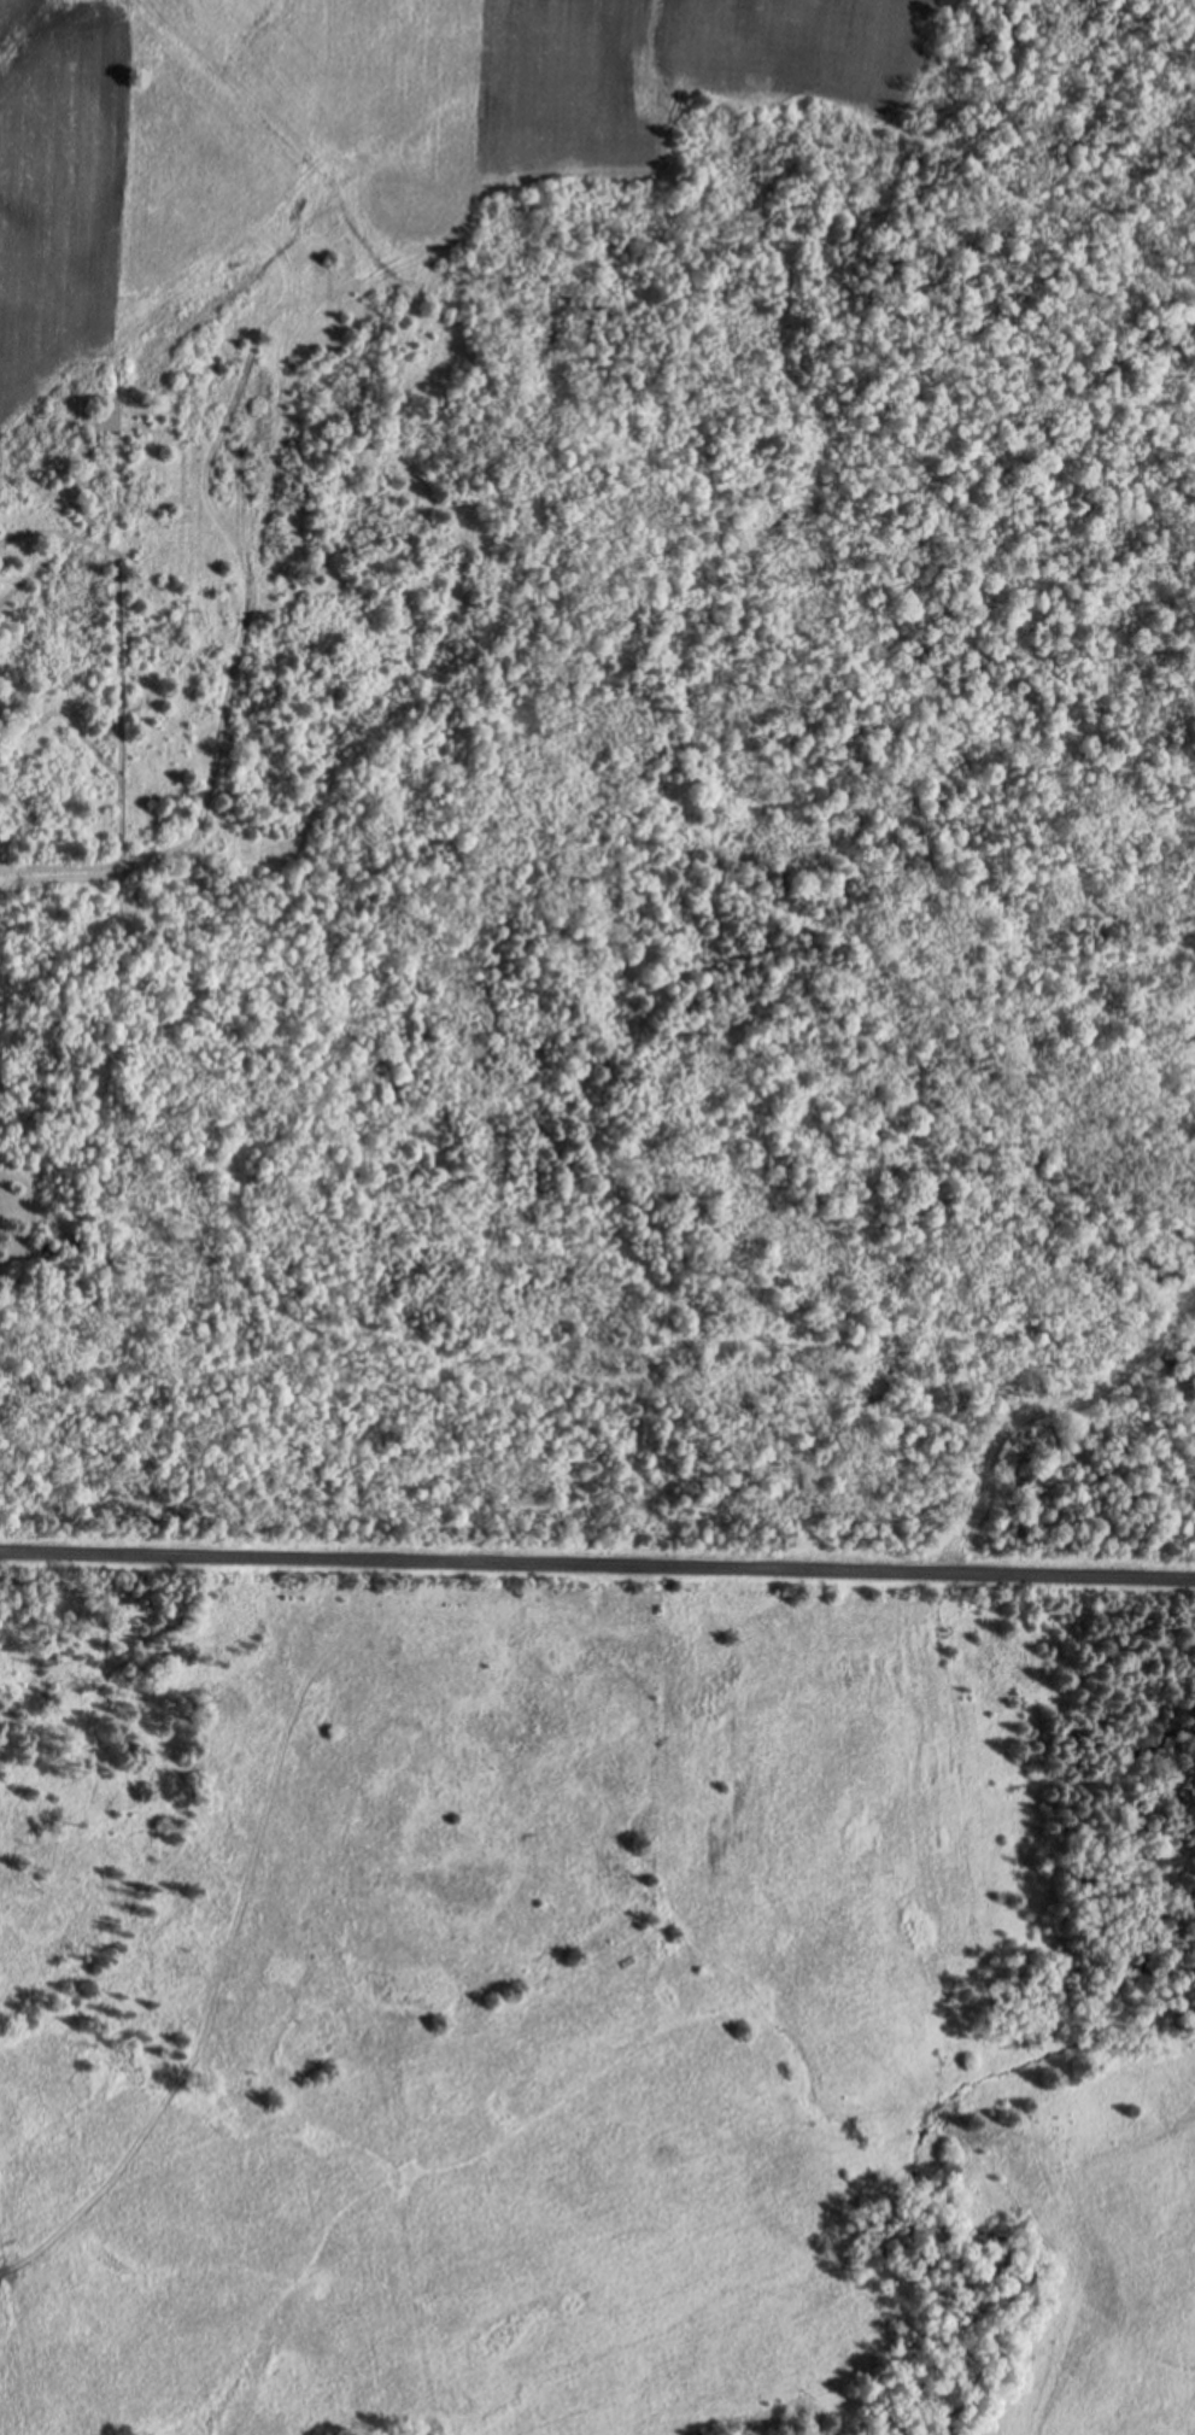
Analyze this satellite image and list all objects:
building: (1155, 1271)
road: (597, 1568)

